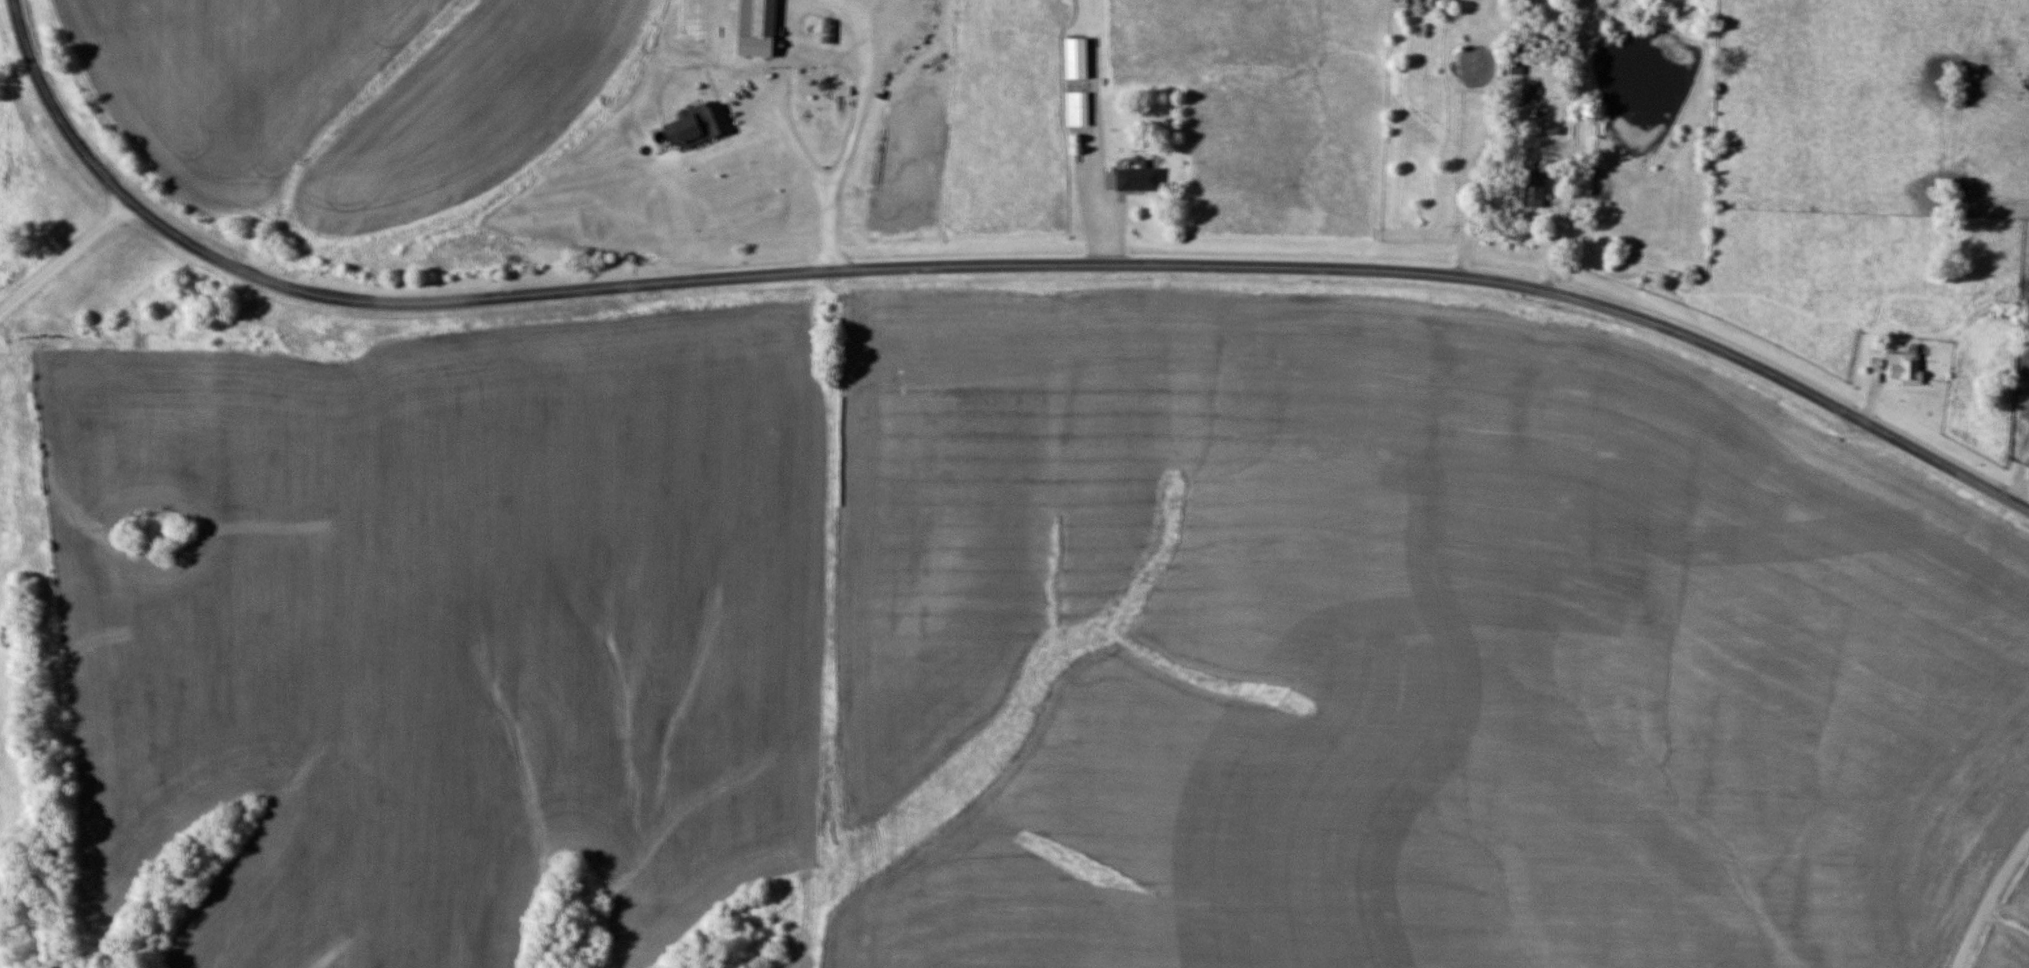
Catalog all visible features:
building: (757, 27)
building: (828, 30)
building: (1078, 57)
building: (1518, 62)
building: (813, 83)
building: (1528, 91)
building: (1078, 109)
building: (698, 125)
building: (1139, 179)
building: (1534, 192)
road: (60, 264)
road: (971, 269)
building: (1907, 367)
road: (1989, 900)

